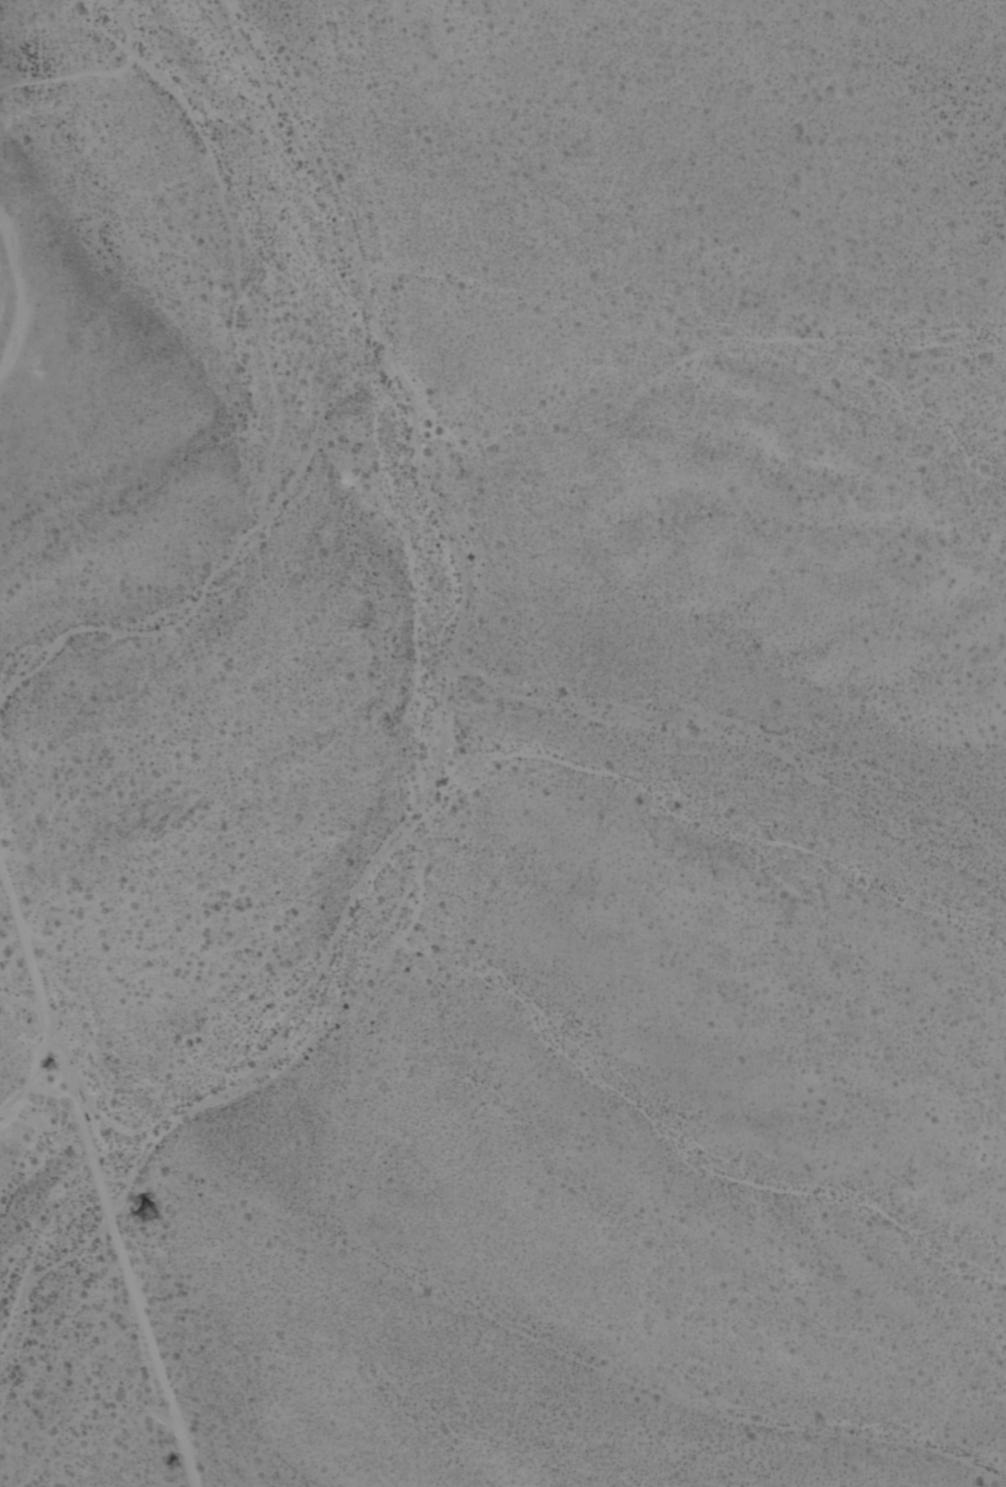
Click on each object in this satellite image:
power tower: (50, 1076)
power tower: (148, 1220)
power tower: (169, 1467)

